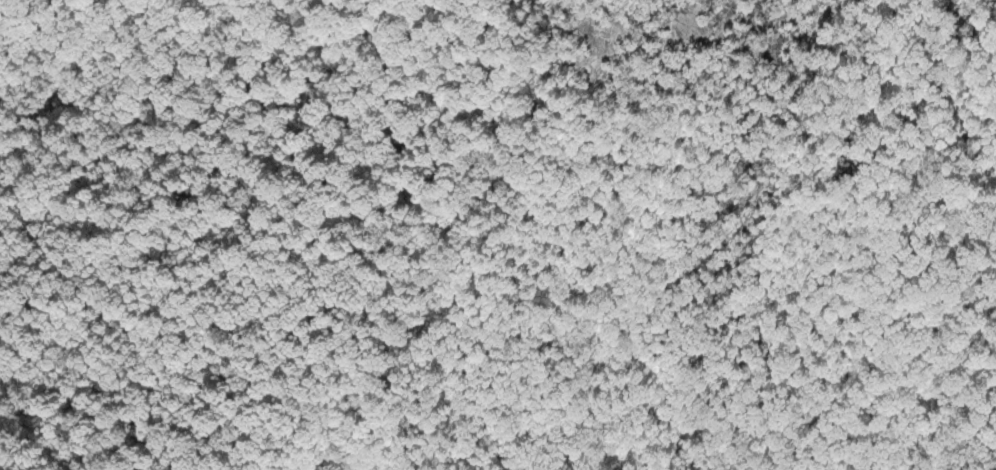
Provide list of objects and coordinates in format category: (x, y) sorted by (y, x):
road: (372, 270)

